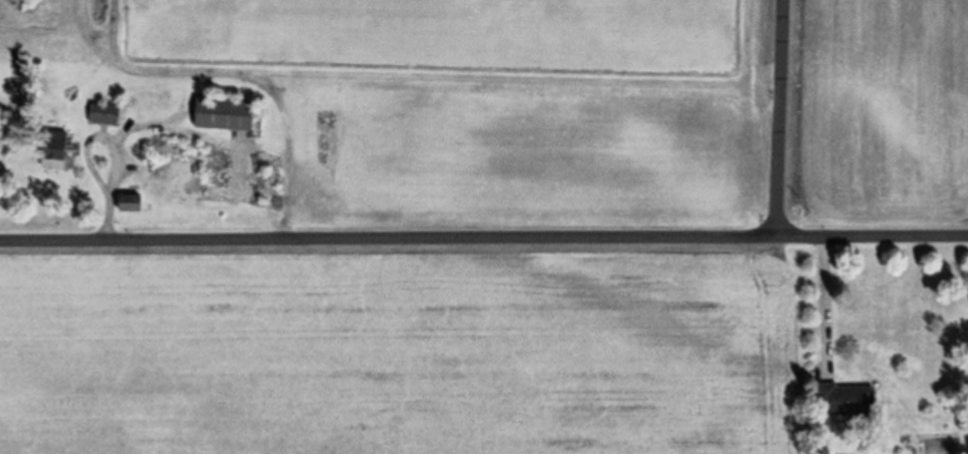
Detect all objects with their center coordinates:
building: (105, 116)
building: (225, 116)
road: (790, 122)
building: (54, 150)
road: (116, 188)
building: (131, 203)
road: (483, 243)
building: (847, 402)

